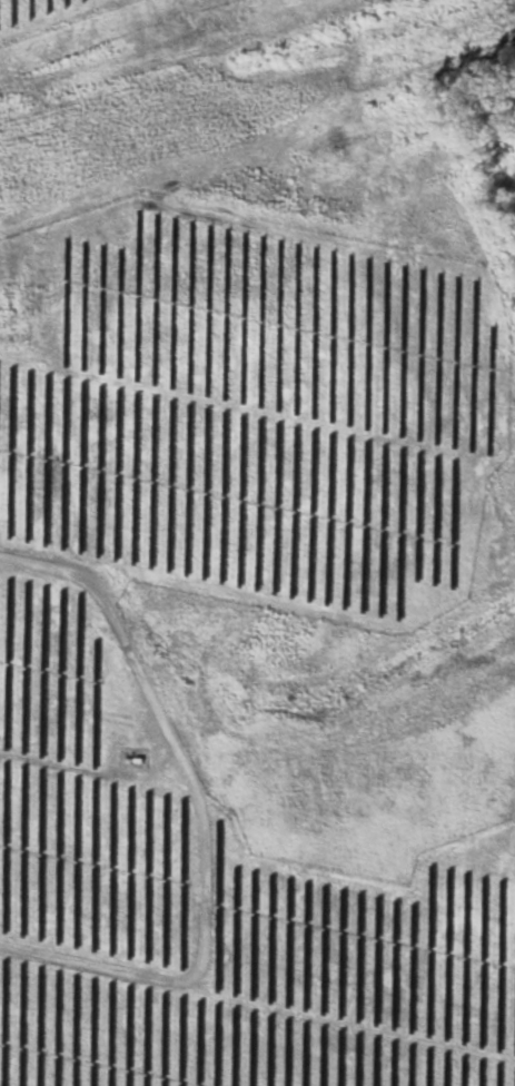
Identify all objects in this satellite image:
building: (269, 879)
building: (256, 904)

